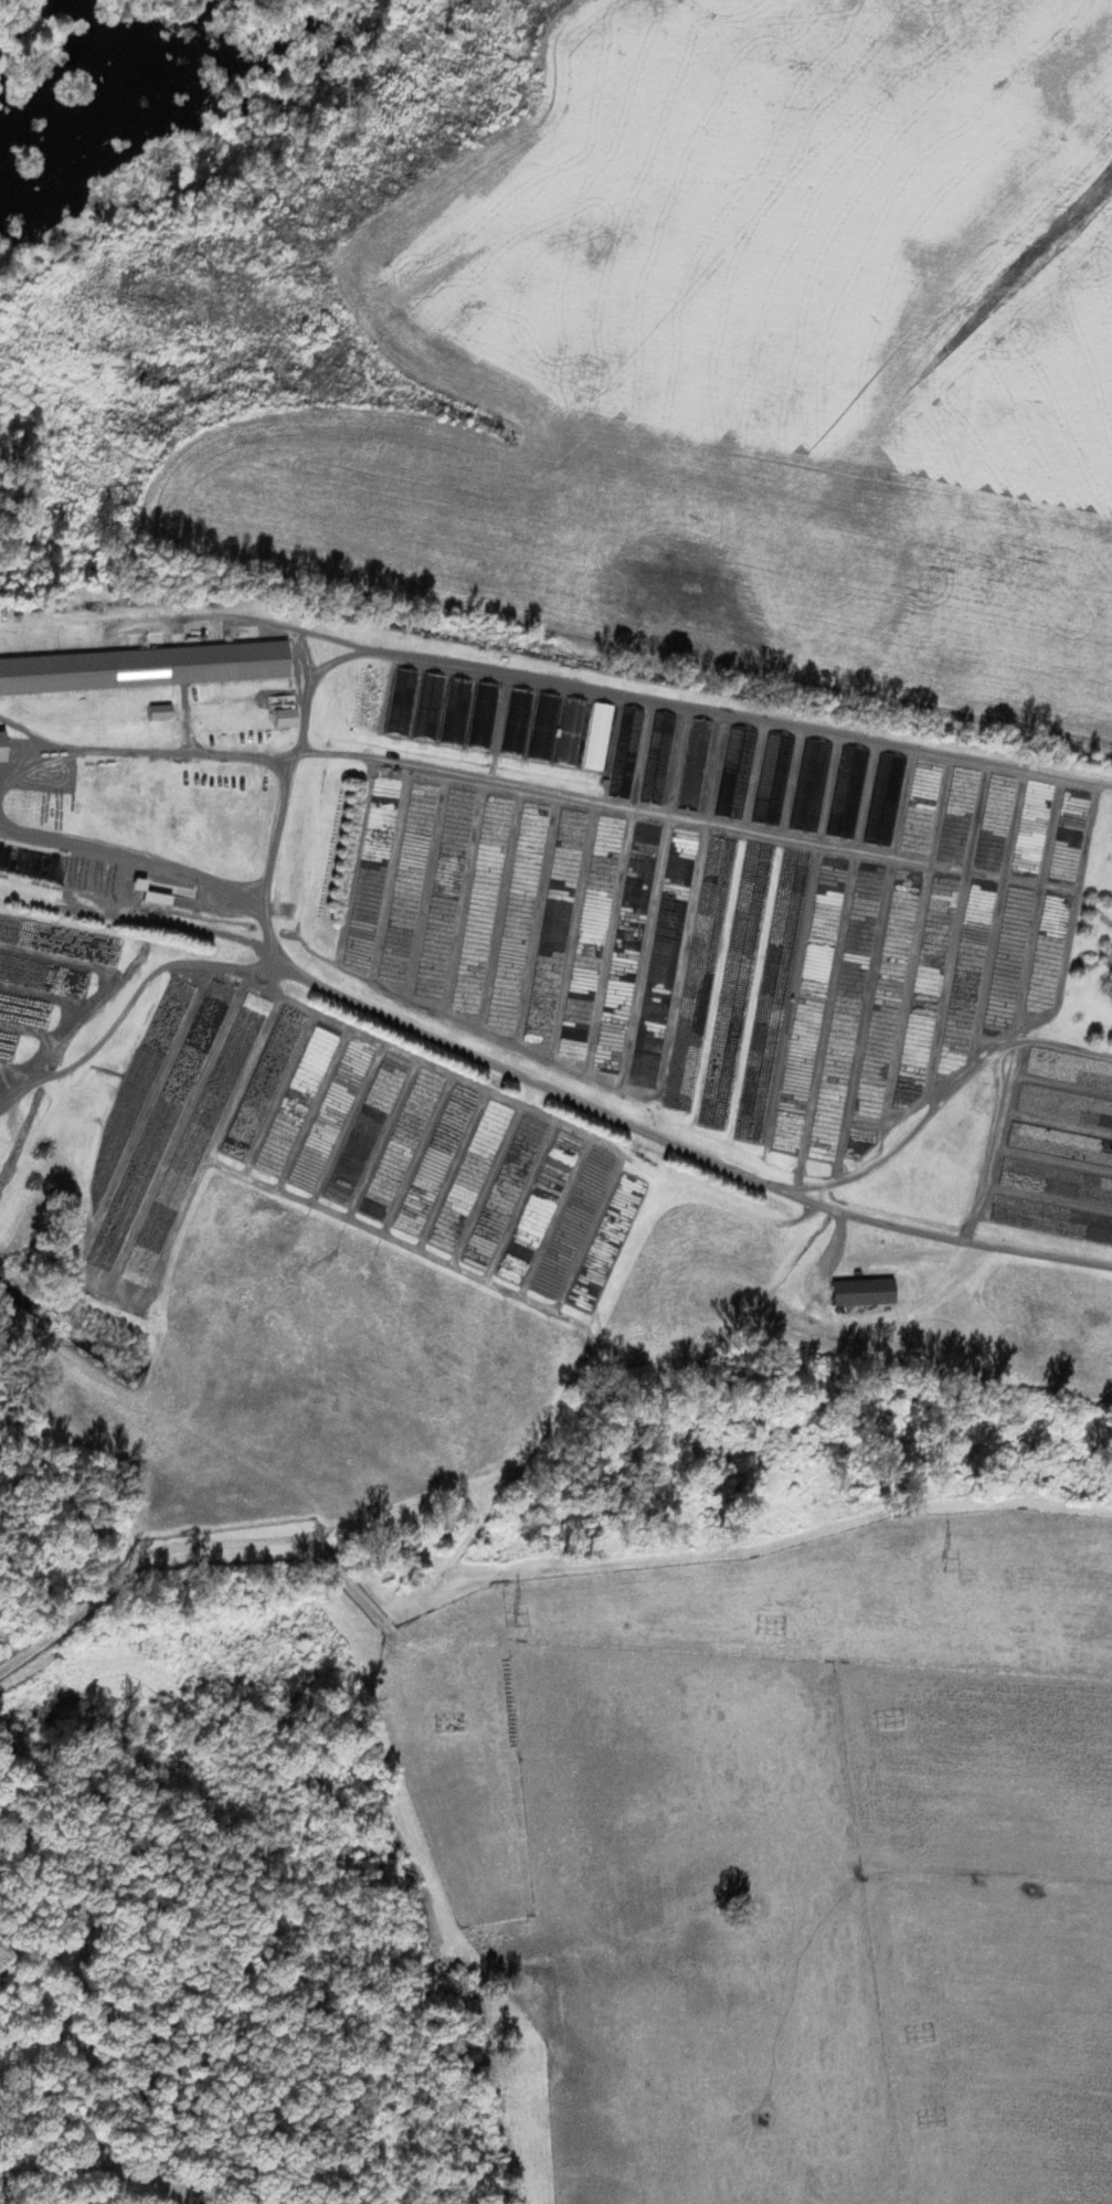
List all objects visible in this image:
building: (145, 667)
building: (162, 711)
building: (287, 719)
building: (4, 746)
building: (1109, 984)
building: (860, 1292)
power tower: (944, 1562)
power tower: (513, 1619)

